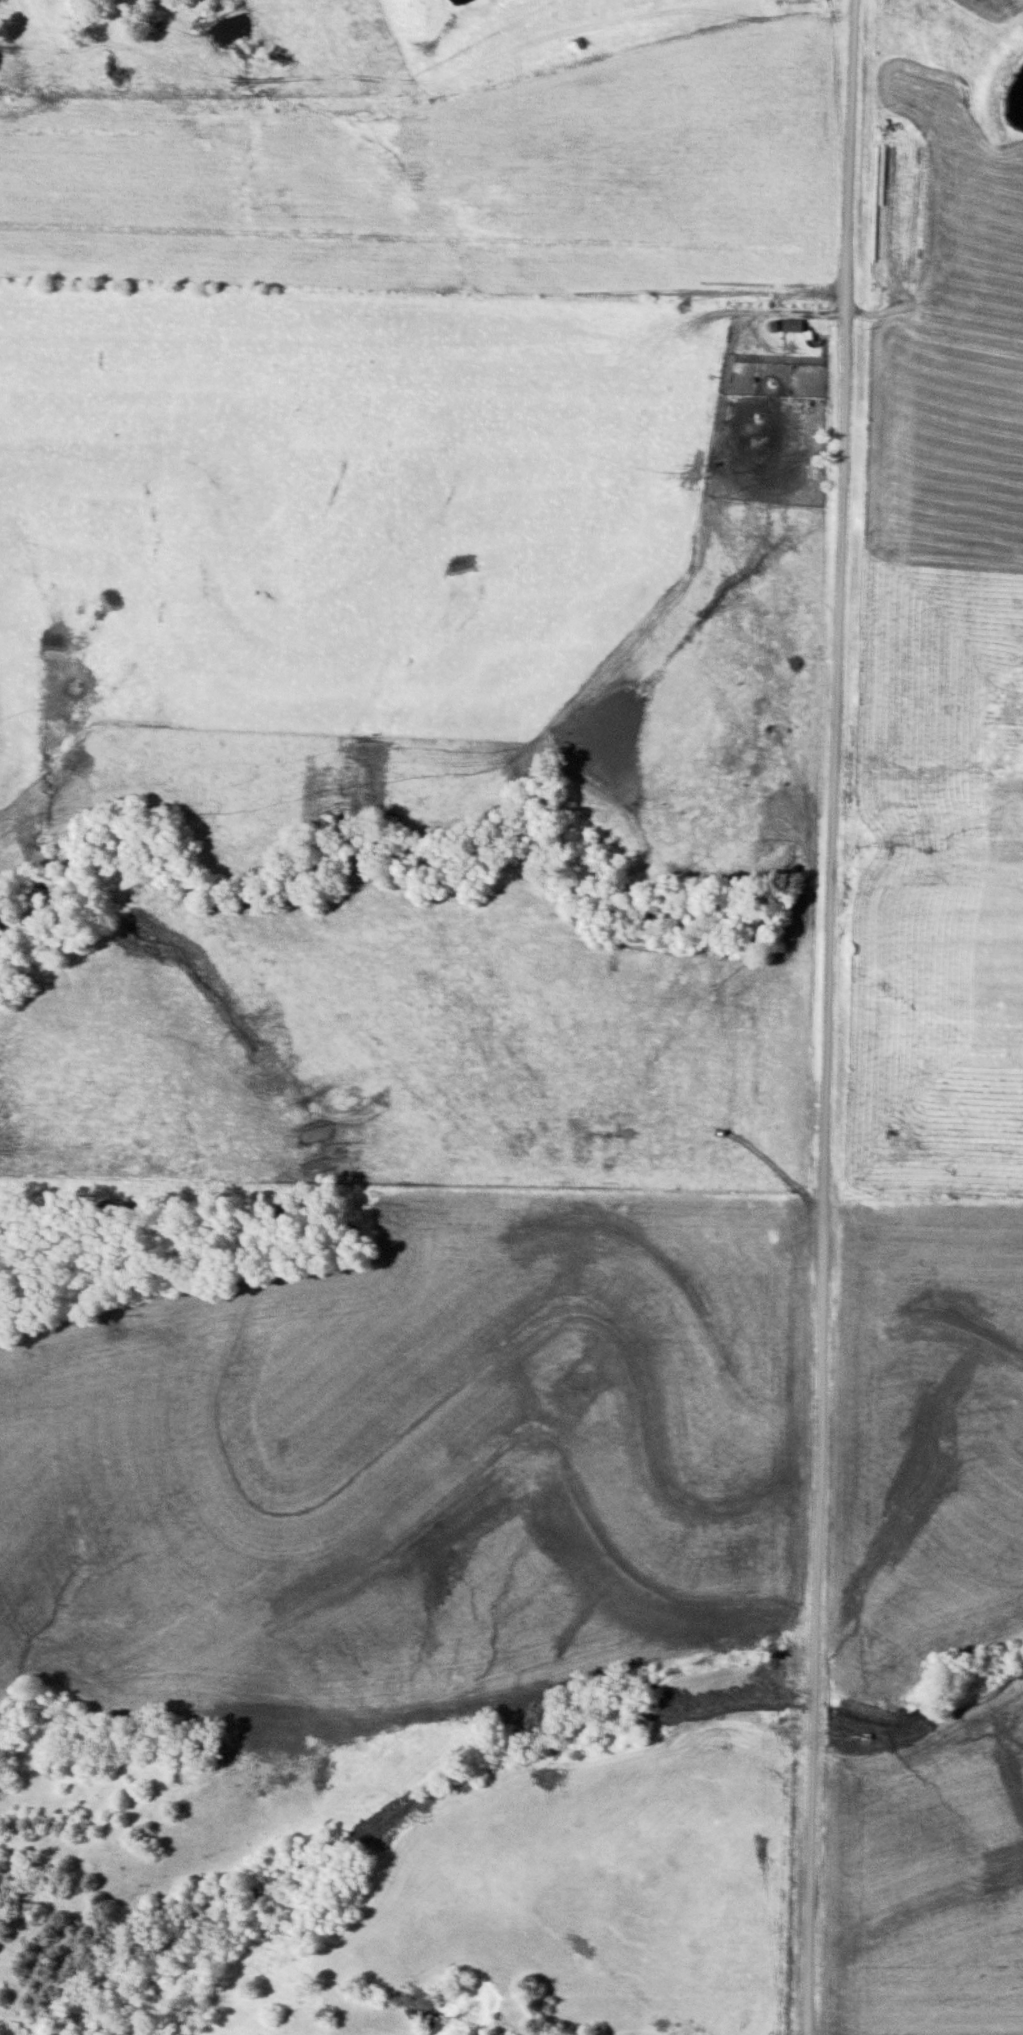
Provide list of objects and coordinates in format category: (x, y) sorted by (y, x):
building: (788, 326)
road: (828, 1017)

